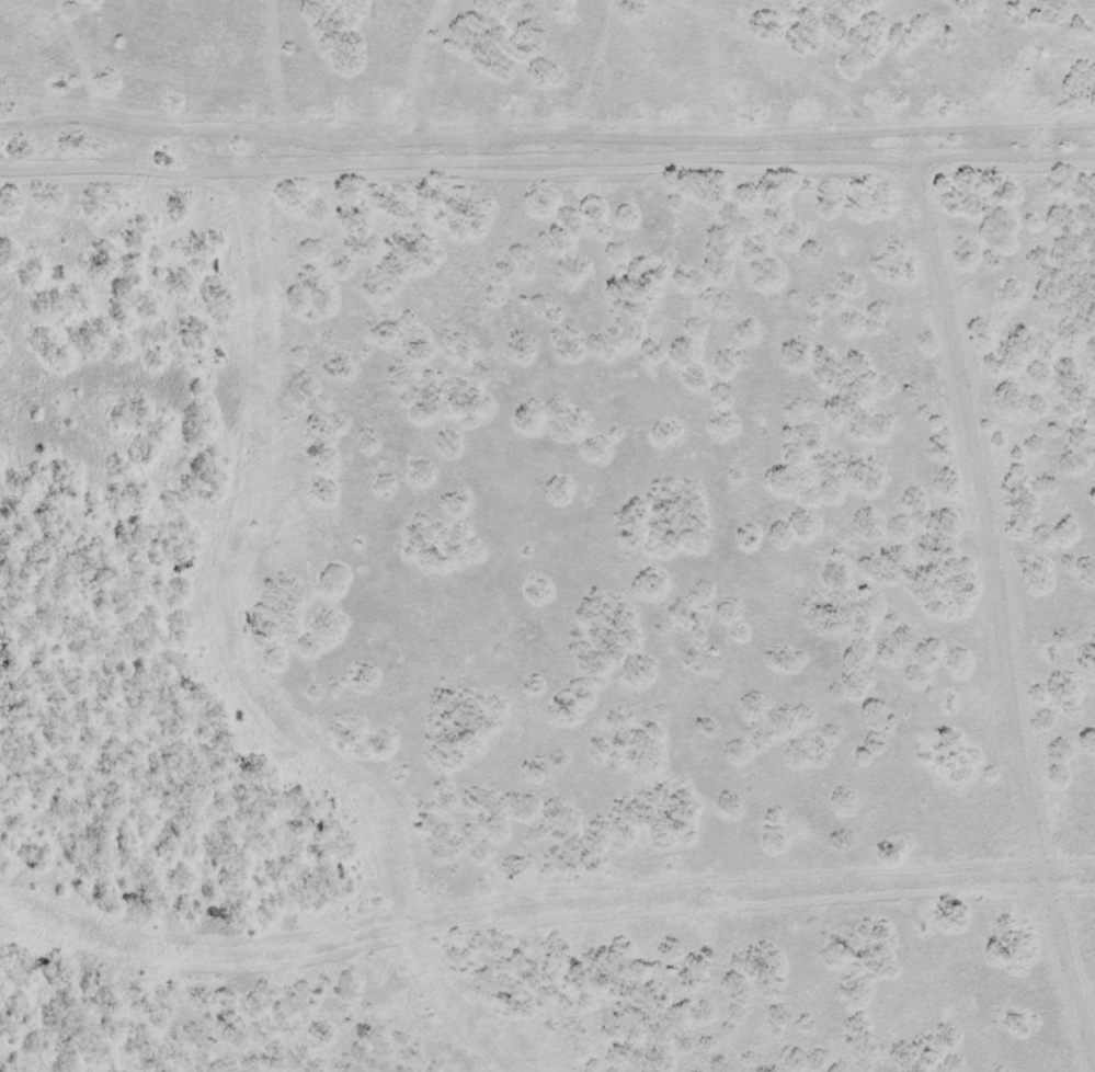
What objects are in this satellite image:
road: (546, 369)
road: (962, 704)

